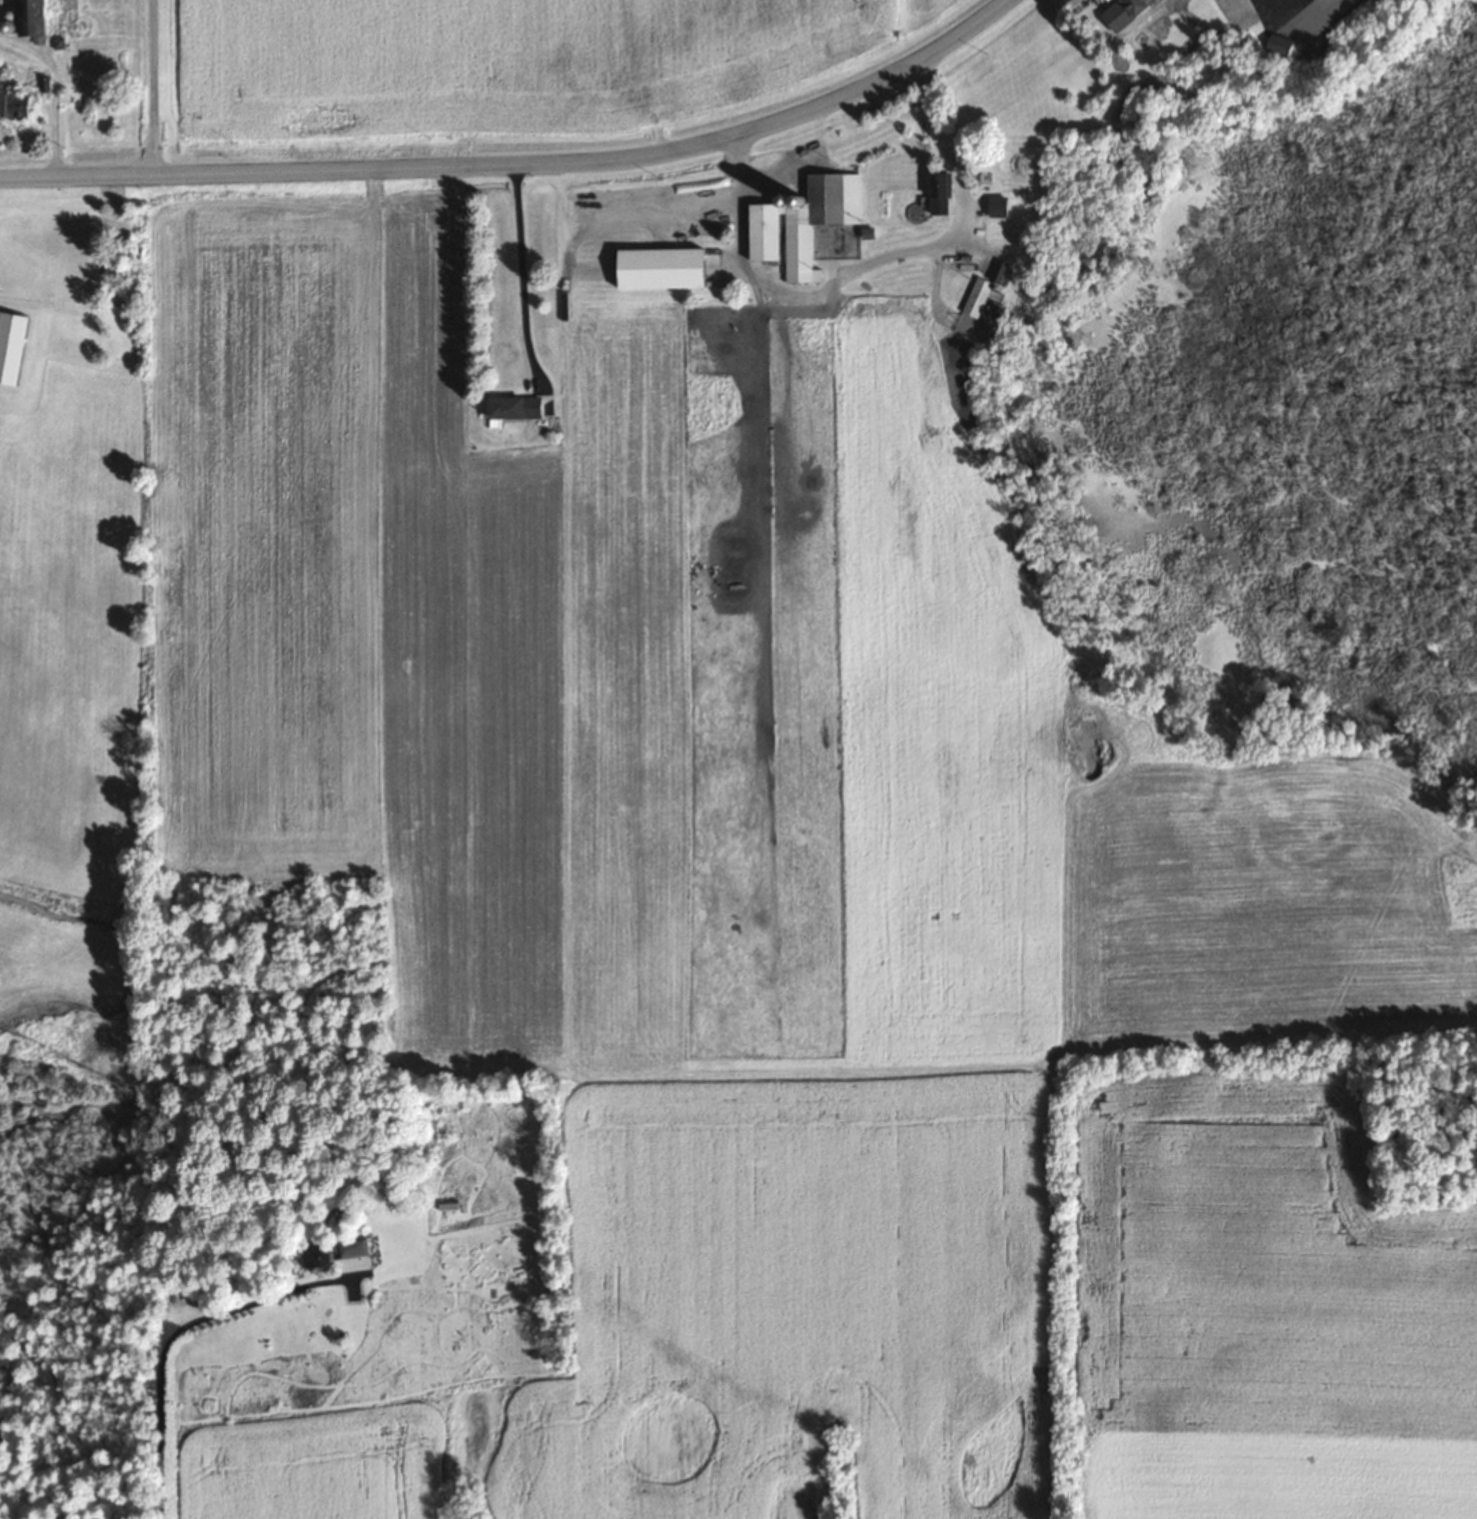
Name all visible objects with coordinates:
building: (1068, 3)
building: (1129, 5)
building: (37, 17)
building: (1274, 46)
building: (16, 106)
road: (522, 165)
building: (940, 194)
building: (999, 207)
building: (797, 226)
building: (959, 260)
building: (665, 269)
road: (521, 283)
building: (979, 290)
building: (12, 346)
building: (508, 408)
building: (449, 1203)
building: (345, 1251)

